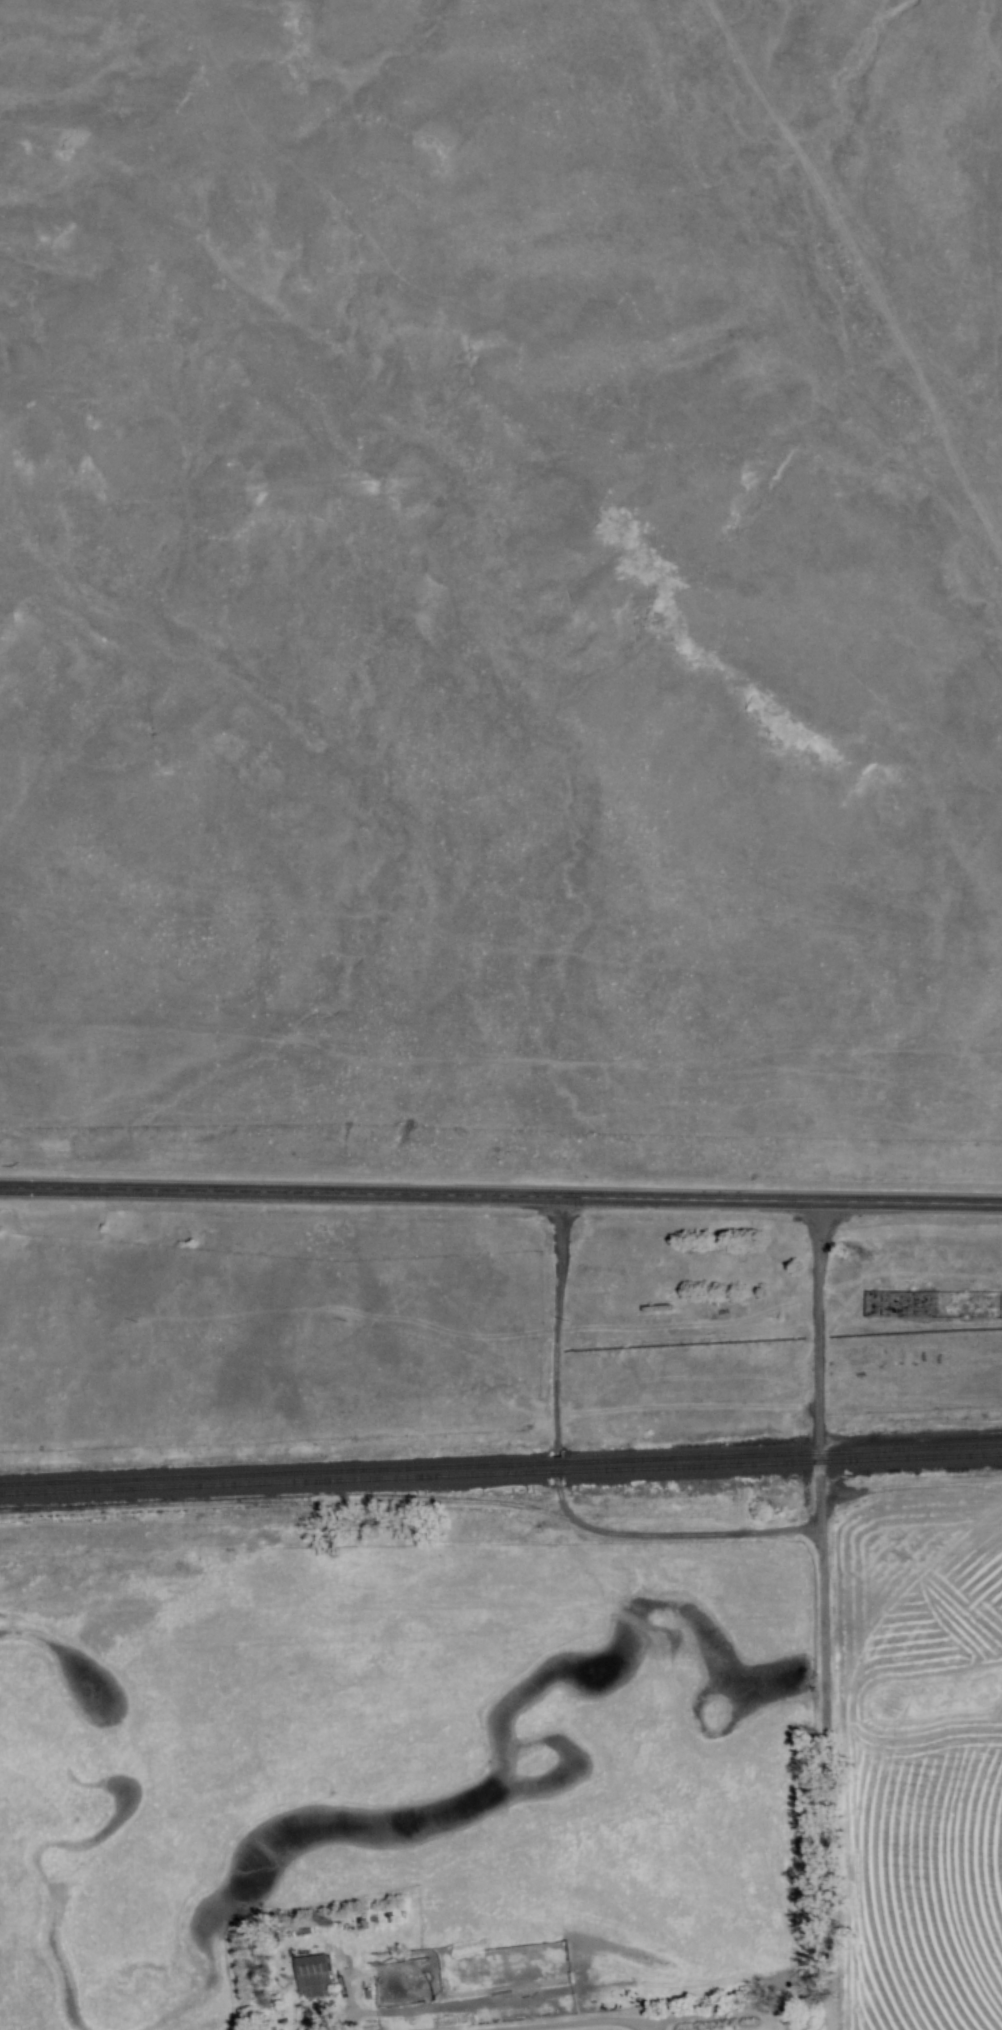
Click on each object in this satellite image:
road: (500, 1193)
building: (979, 1296)
road: (820, 1371)
railway: (786, 1452)
railway: (559, 1461)
railway: (786, 1461)
railway: (558, 1470)
railway: (273, 1471)
railway: (273, 1481)
road: (558, 1485)
road: (908, 1485)
crop: (922, 1762)
road: (826, 1770)
building: (316, 1976)
road: (681, 2014)
road: (786, 2021)
road: (641, 2024)

